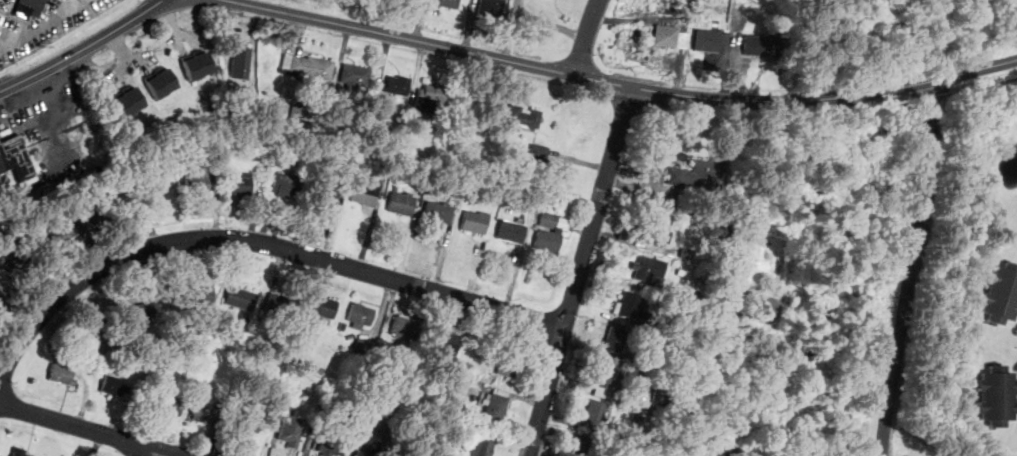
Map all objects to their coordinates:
building: (447, 3)
building: (490, 7)
building: (30, 9)
road: (587, 36)
building: (668, 37)
building: (709, 42)
building: (756, 46)
road: (84, 48)
building: (240, 61)
building: (197, 65)
building: (306, 67)
building: (355, 76)
building: (161, 83)
road: (623, 85)
building: (398, 86)
road: (981, 87)
road: (940, 96)
building: (431, 97)
building: (129, 101)
building: (298, 107)
building: (524, 117)
building: (376, 130)
building: (538, 154)
building: (15, 157)
building: (698, 174)
building: (286, 183)
building: (198, 184)
building: (241, 184)
building: (367, 193)
building: (156, 194)
building: (327, 194)
building: (402, 204)
building: (108, 212)
building: (438, 213)
building: (548, 220)
building: (476, 222)
building: (750, 222)
building: (537, 227)
building: (511, 232)
building: (657, 232)
building: (62, 235)
road: (258, 241)
building: (548, 242)
road: (911, 268)
building: (21, 270)
road: (579, 271)
building: (693, 271)
building: (644, 273)
building: (1002, 295)
building: (0, 296)
building: (200, 296)
building: (241, 299)
park: (834, 303)
building: (1, 304)
building: (280, 305)
building: (630, 306)
building: (322, 308)
building: (147, 312)
building: (361, 315)
building: (245, 319)
building: (343, 327)
building: (407, 328)
building: (662, 329)
building: (354, 331)
building: (615, 340)
building: (445, 343)
building: (364, 349)
building: (507, 364)
building: (317, 370)
building: (633, 373)
building: (62, 376)
building: (604, 377)
building: (114, 387)
building: (657, 393)
building: (997, 397)
building: (171, 405)
building: (495, 409)
building: (595, 414)
building: (204, 416)
building: (637, 418)
building: (249, 425)
road: (89, 429)
building: (292, 432)
building: (330, 446)
building: (584, 446)
building: (478, 447)
building: (369, 448)
road: (150, 452)
building: (17, 453)
building: (394, 455)
building: (402, 455)

